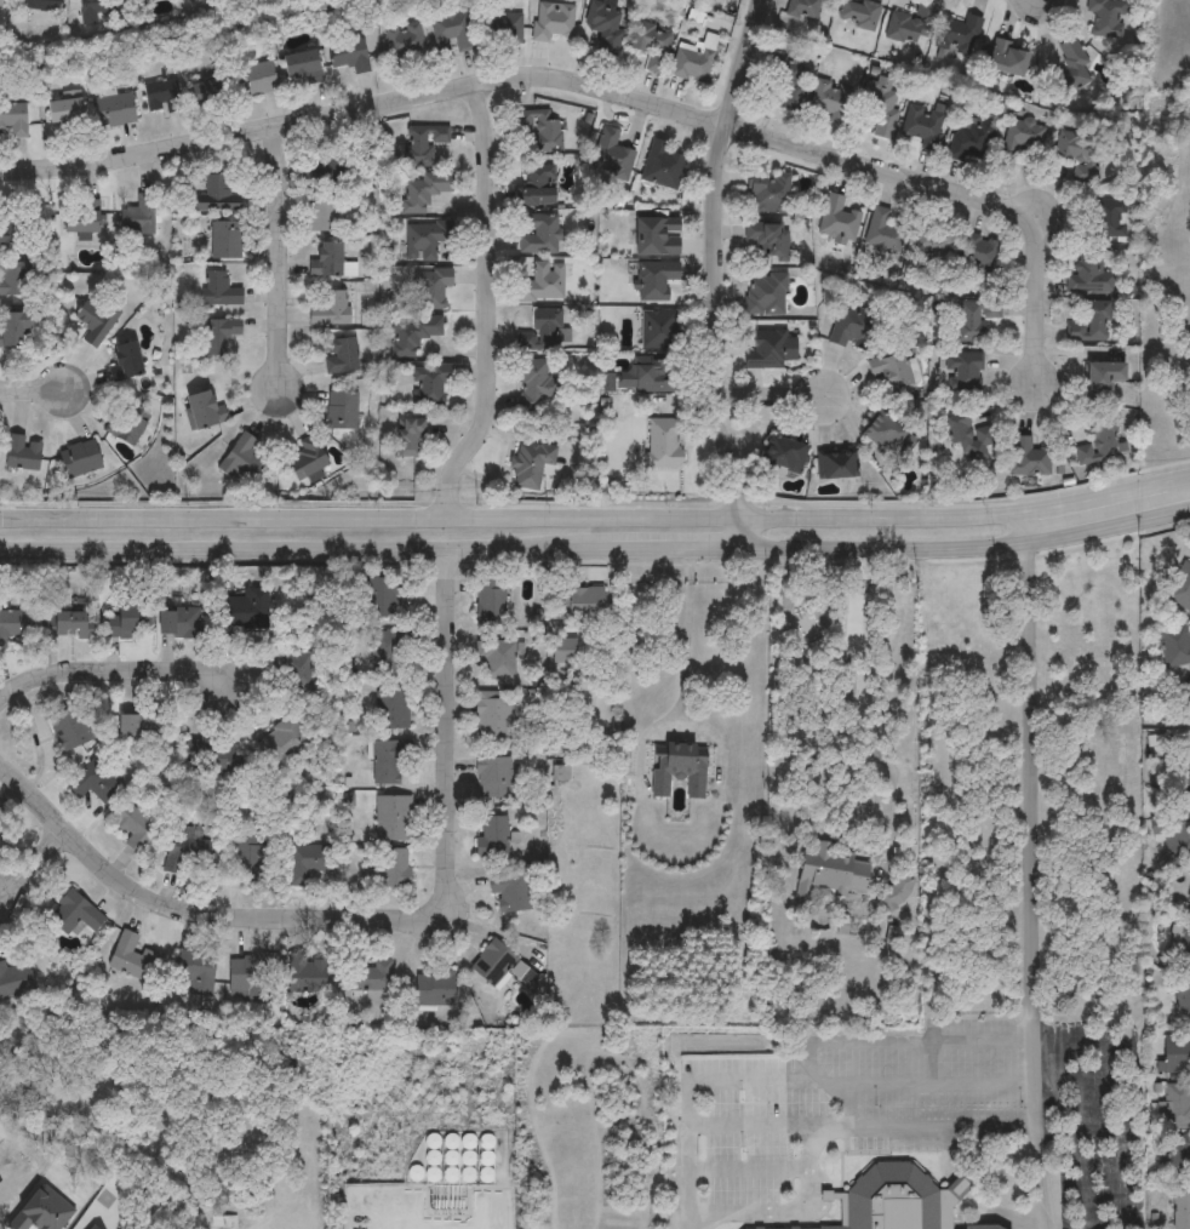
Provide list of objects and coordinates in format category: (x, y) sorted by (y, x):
building: (1, 5)
building: (40, 6)
building: (806, 8)
building: (93, 10)
building: (859, 13)
building: (1106, 18)
building: (553, 23)
building: (605, 27)
building: (911, 27)
building: (504, 29)
building: (452, 30)
building: (959, 36)
building: (404, 42)
building: (651, 46)
building: (348, 57)
building: (1007, 59)
building: (692, 67)
building: (1071, 68)
building: (302, 69)
building: (256, 80)
building: (791, 82)
road: (614, 92)
building: (206, 95)
building: (160, 96)
building: (833, 103)
building: (113, 112)
building: (879, 113)
building: (63, 115)
building: (12, 121)
building: (925, 127)
building: (542, 132)
building: (1023, 139)
building: (969, 141)
building: (423, 145)
building: (1074, 150)
building: (611, 156)
building: (662, 167)
building: (320, 179)
building: (536, 188)
building: (424, 193)
building: (767, 195)
building: (217, 198)
building: (321, 213)
building: (80, 218)
building: (139, 218)
building: (1109, 221)
building: (837, 224)
building: (881, 233)
building: (539, 235)
building: (656, 235)
building: (227, 241)
building: (424, 241)
building: (766, 242)
building: (929, 242)
building: (976, 252)
road: (279, 256)
building: (326, 262)
road: (715, 275)
building: (1089, 276)
building: (12, 280)
building: (653, 281)
building: (543, 285)
building: (430, 288)
building: (219, 292)
building: (766, 297)
road: (488, 301)
building: (331, 311)
building: (973, 320)
building: (95, 321)
building: (1095, 322)
building: (12, 331)
building: (660, 331)
building: (848, 332)
building: (540, 333)
building: (216, 335)
building: (412, 337)
building: (767, 351)
building: (341, 356)
building: (127, 362)
building: (961, 372)
building: (889, 373)
building: (1100, 378)
building: (646, 381)
building: (428, 385)
building: (536, 388)
road: (770, 394)
road: (32, 398)
building: (342, 412)
building: (198, 413)
building: (131, 428)
building: (407, 439)
building: (887, 439)
building: (966, 440)
building: (662, 446)
building: (1097, 446)
building: (22, 456)
building: (782, 458)
building: (80, 459)
building: (307, 461)
building: (1026, 461)
building: (240, 462)
building: (530, 465)
building: (836, 465)
road: (596, 514)
road: (596, 553)
building: (1180, 585)
building: (383, 594)
building: (490, 600)
building: (576, 601)
building: (239, 607)
building: (176, 622)
building: (64, 623)
building: (119, 623)
building: (17, 624)
road: (687, 634)
building: (1174, 644)
building: (562, 650)
building: (389, 651)
building: (497, 661)
road: (116, 665)
building: (294, 668)
road: (853, 691)
building: (1189, 701)
building: (1189, 704)
building: (390, 709)
building: (491, 715)
building: (80, 725)
building: (138, 725)
road: (448, 732)
building: (282, 742)
building: (208, 758)
building: (385, 762)
building: (677, 770)
building: (492, 777)
building: (1184, 777)
building: (96, 783)
building: (391, 818)
building: (0, 822)
building: (0, 823)
building: (133, 825)
building: (1177, 834)
building: (492, 836)
building: (188, 852)
building: (252, 856)
building: (308, 862)
road: (33, 865)
road: (1029, 867)
building: (391, 868)
building: (830, 876)
building: (897, 890)
building: (511, 892)
building: (74, 913)
road: (191, 916)
building: (1184, 947)
building: (128, 956)
building: (492, 962)
building: (247, 971)
building: (199, 973)
building: (305, 974)
building: (368, 974)
building: (16, 979)
building: (434, 989)
building: (1182, 1000)
building: (1177, 1053)
road: (811, 1061)
road: (686, 1092)
building: (1177, 1105)
road: (847, 1108)
road: (761, 1128)
road: (835, 1130)
road: (1076, 1132)
road: (949, 1155)
building: (1178, 1156)
road: (746, 1173)
road: (957, 1188)
building: (899, 1200)
building: (1180, 1207)
road: (1001, 1213)
building: (977, 1228)

